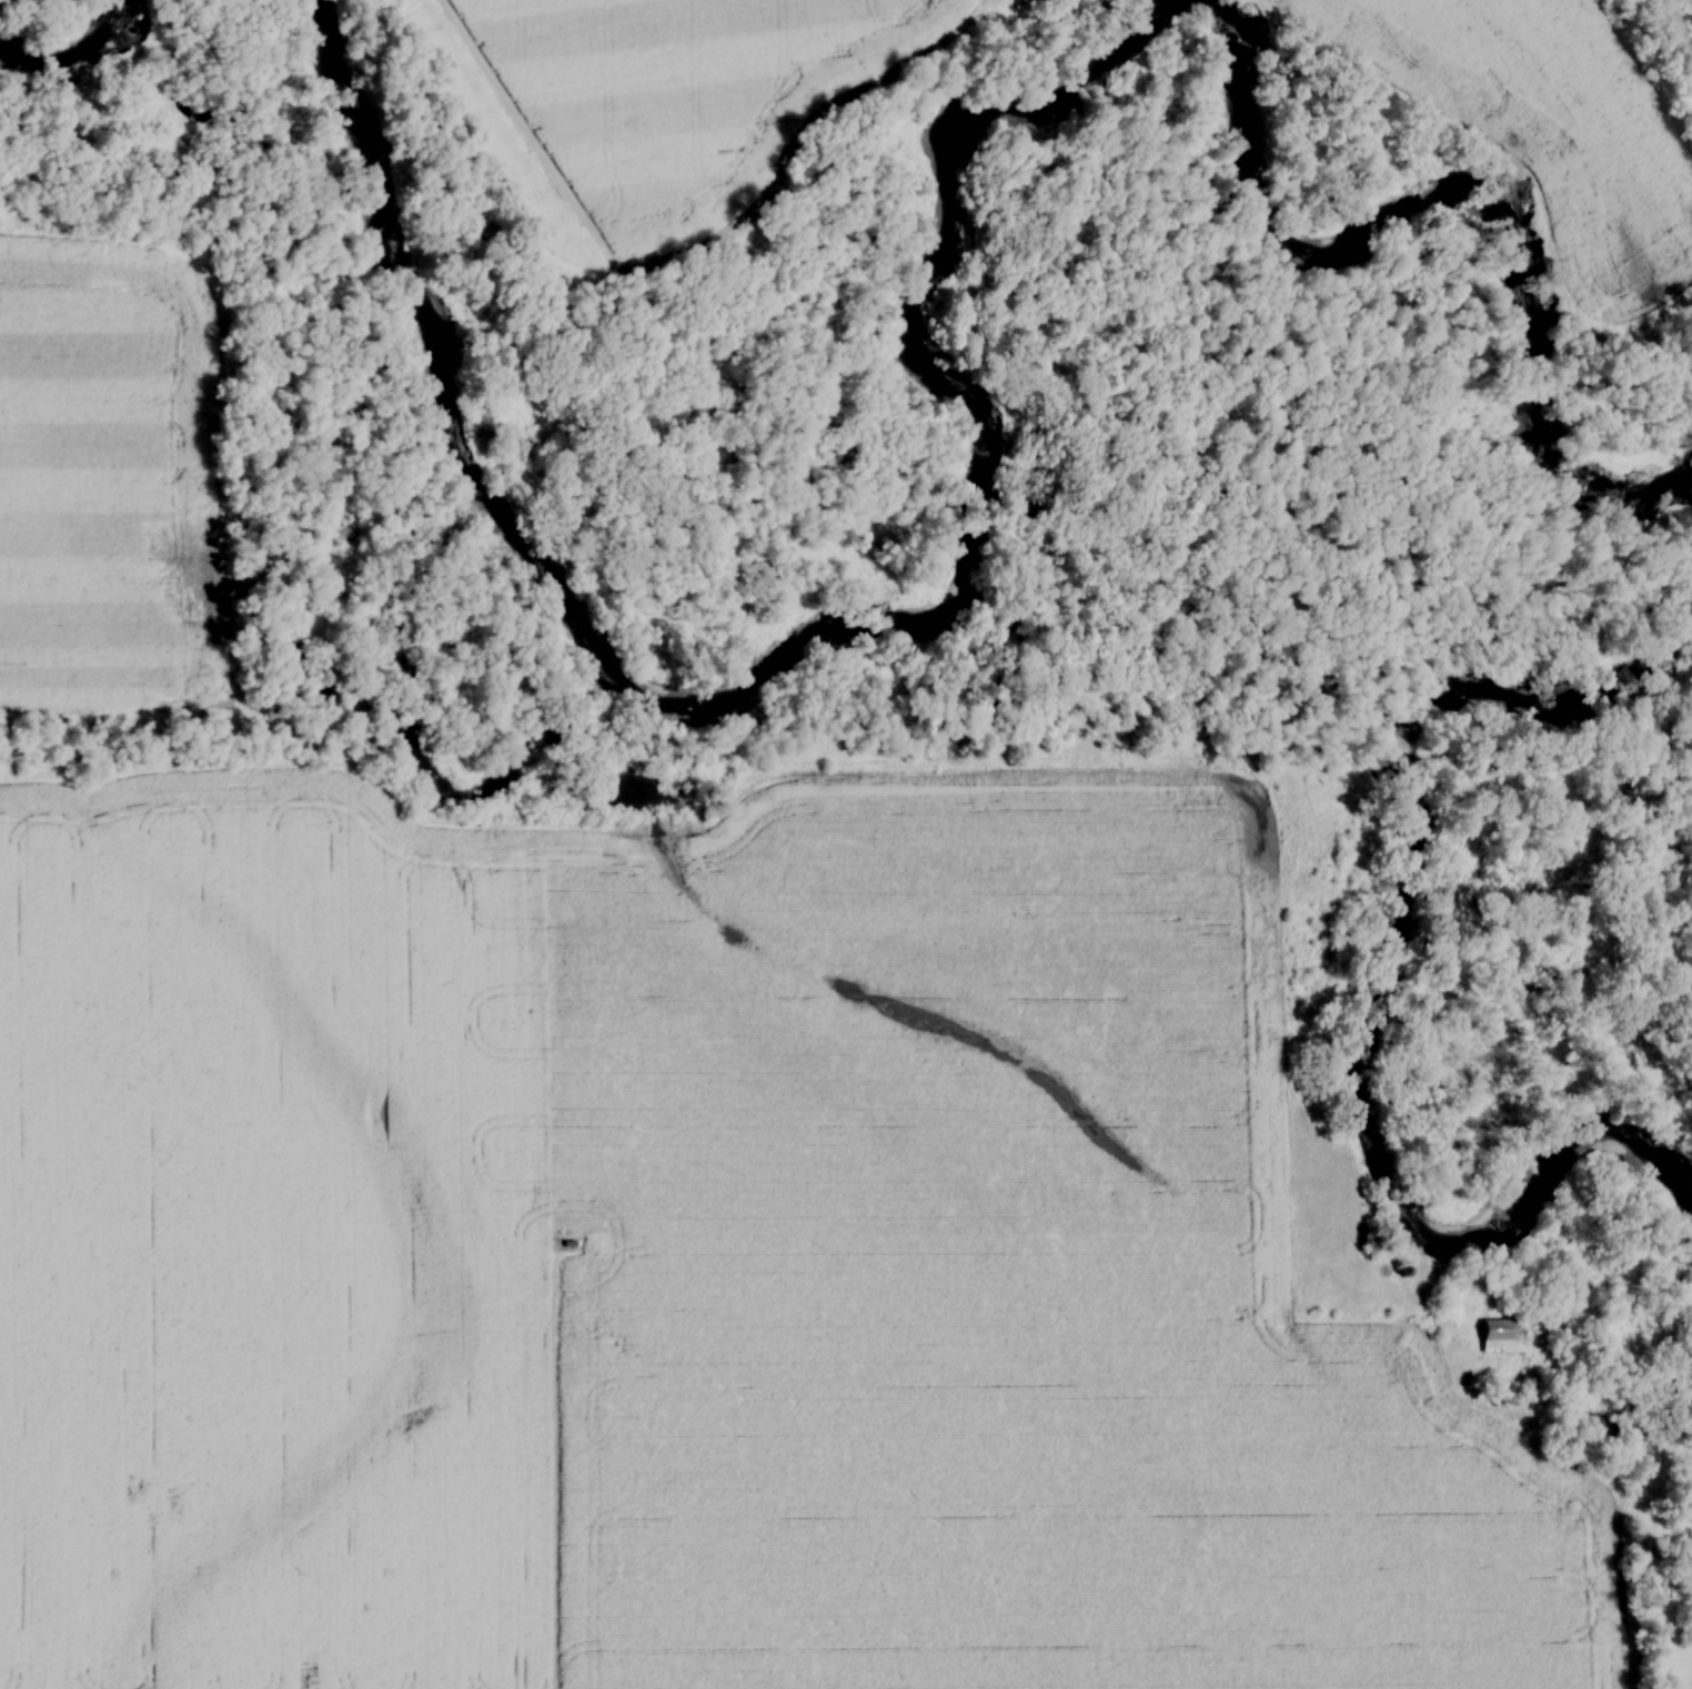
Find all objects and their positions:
building: (1501, 1335)

